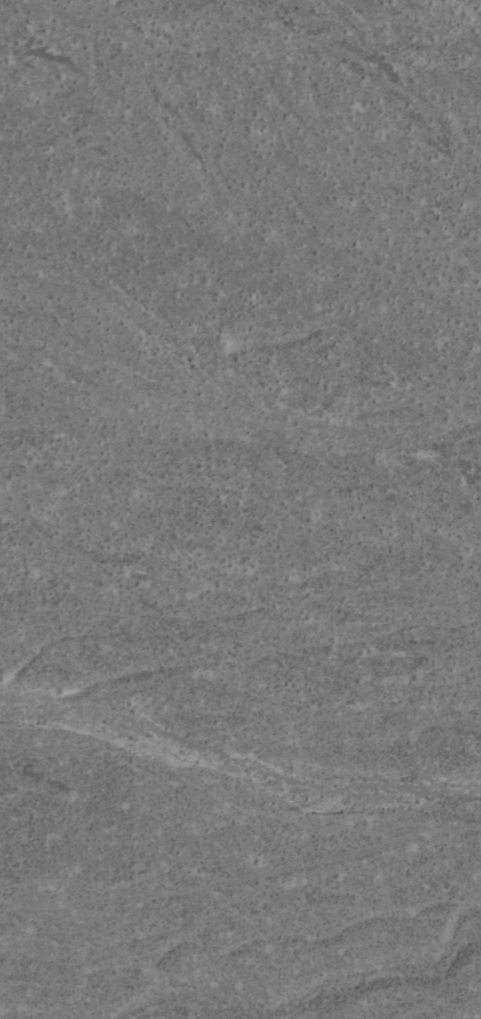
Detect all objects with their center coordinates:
road: (242, 874)

